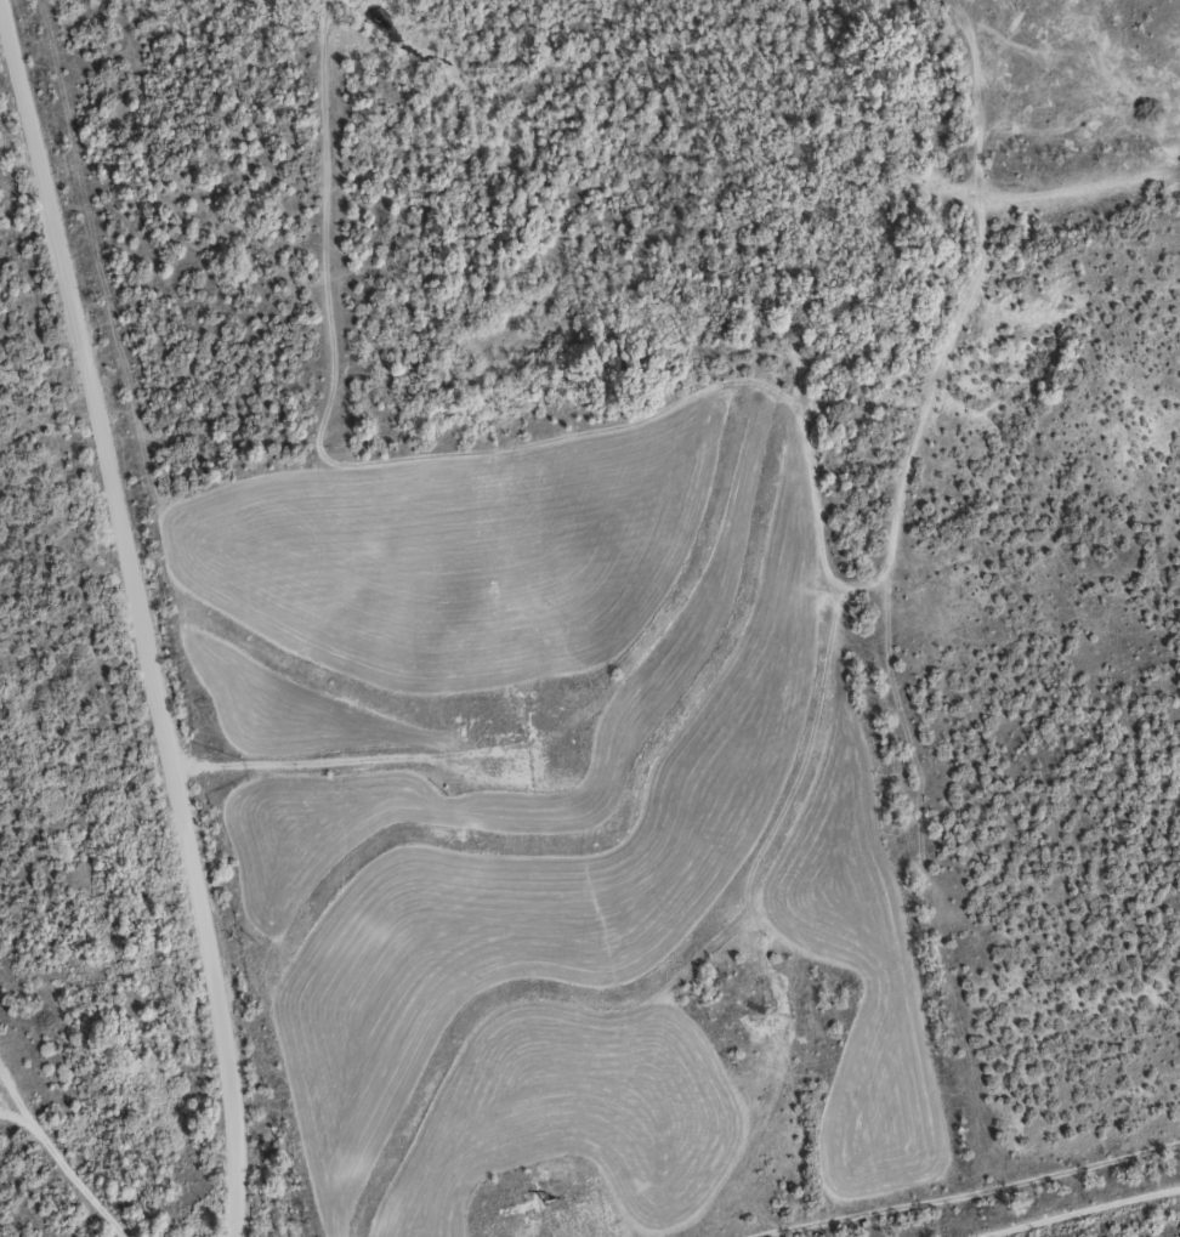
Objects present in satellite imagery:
road: (877, 577)
road: (13, 1071)
road: (70, 1127)
road: (932, 1179)

